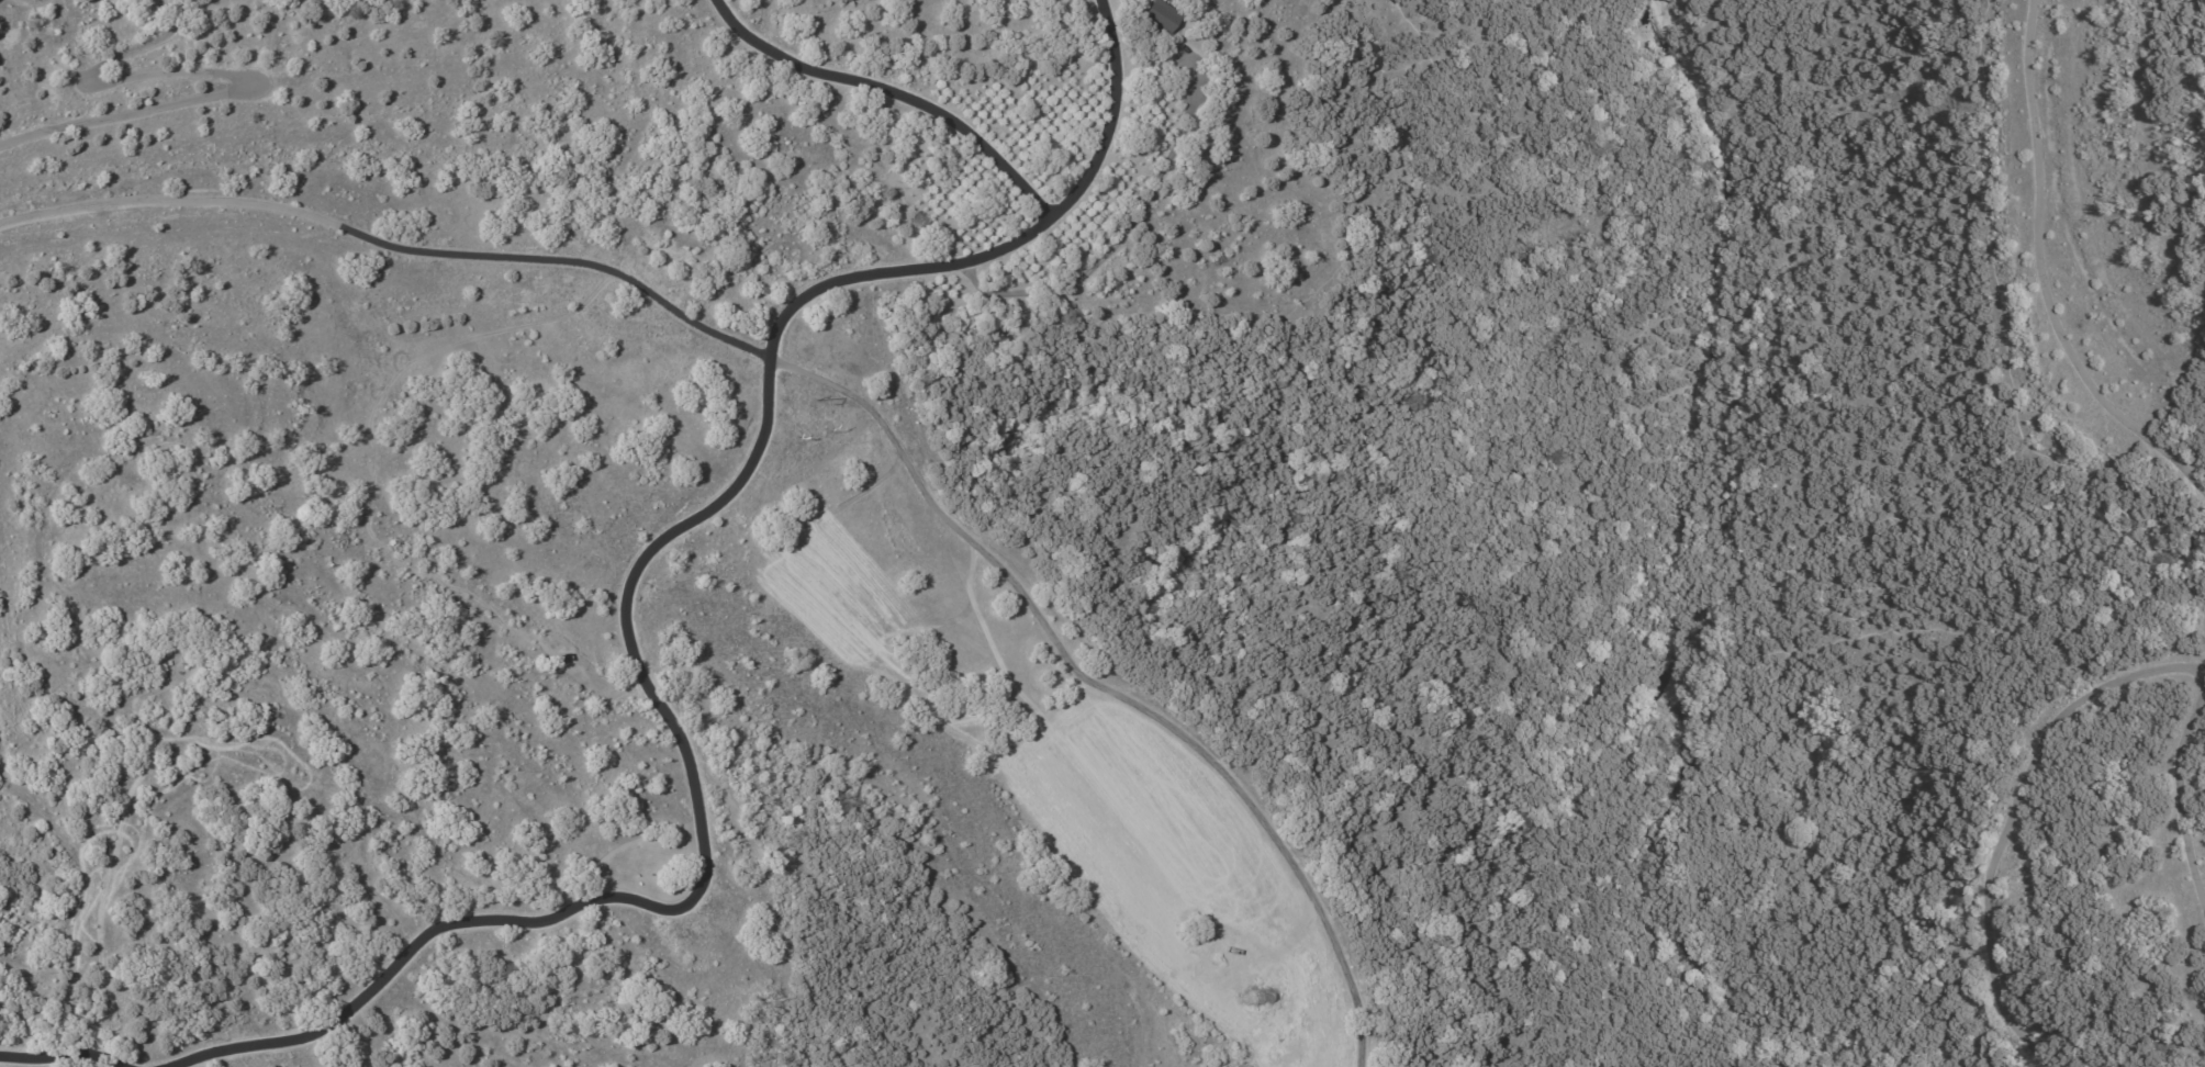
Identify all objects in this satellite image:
road: (1656, 9)
building: (1160, 18)
road: (216, 71)
road: (892, 93)
road: (1081, 184)
road: (1124, 231)
road: (398, 249)
road: (1733, 326)
road: (1638, 416)
road: (1681, 420)
park: (1602, 482)
road: (701, 794)
road: (74, 1052)

